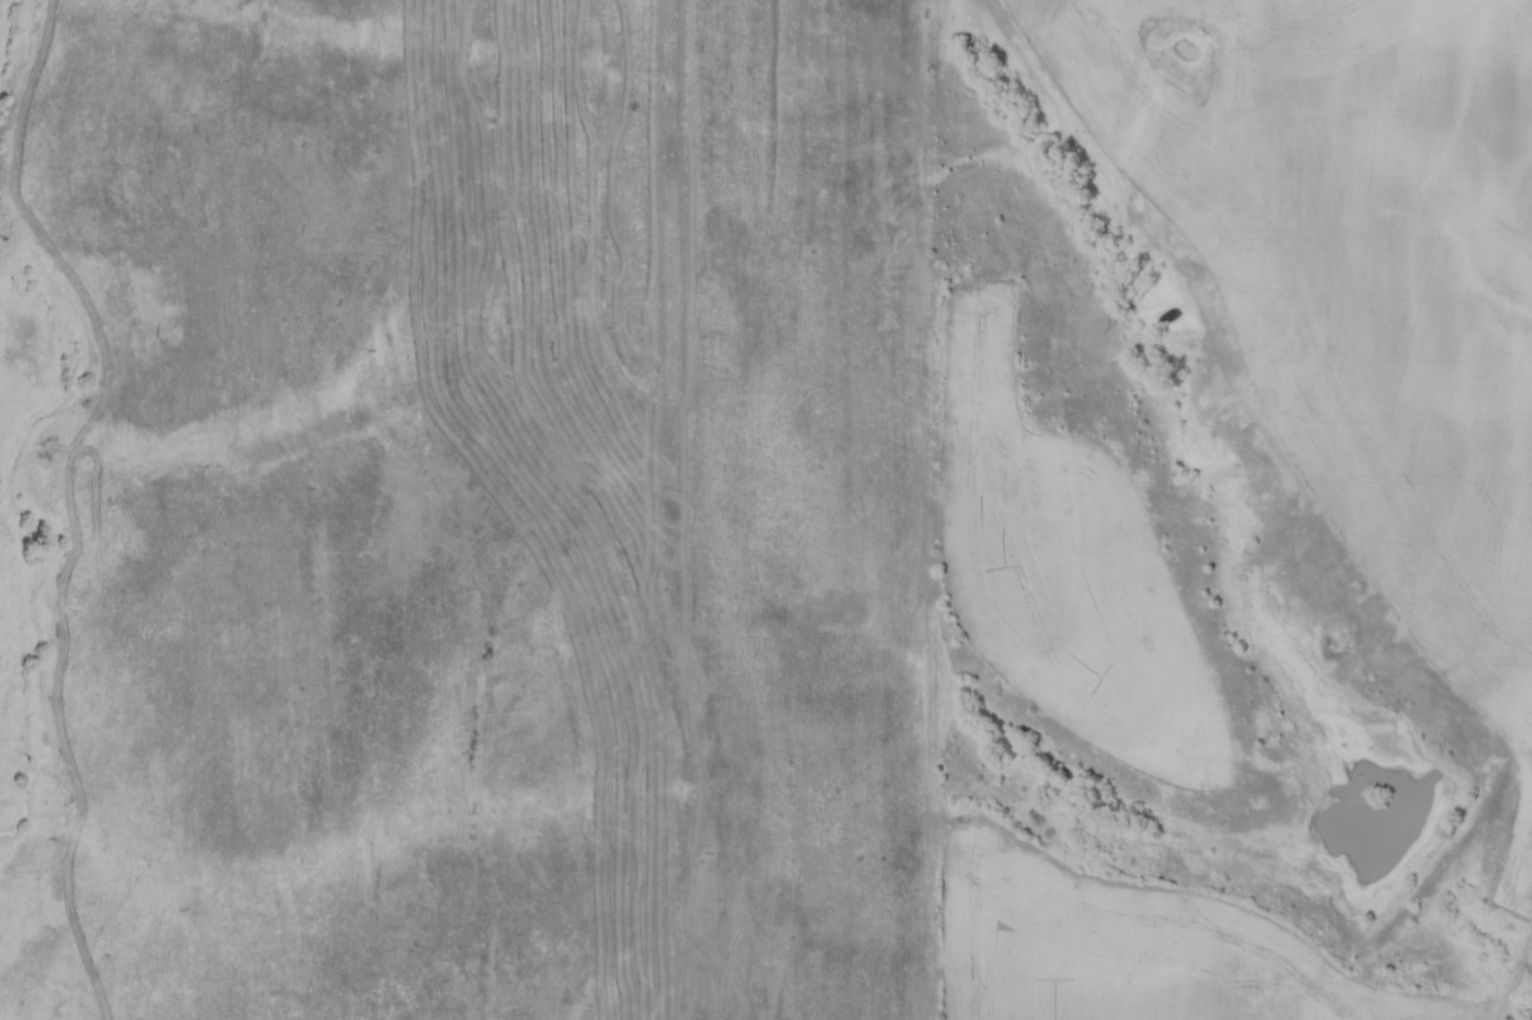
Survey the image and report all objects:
crop: (1361, 282)
crop: (1064, 567)
crop: (1129, 946)

